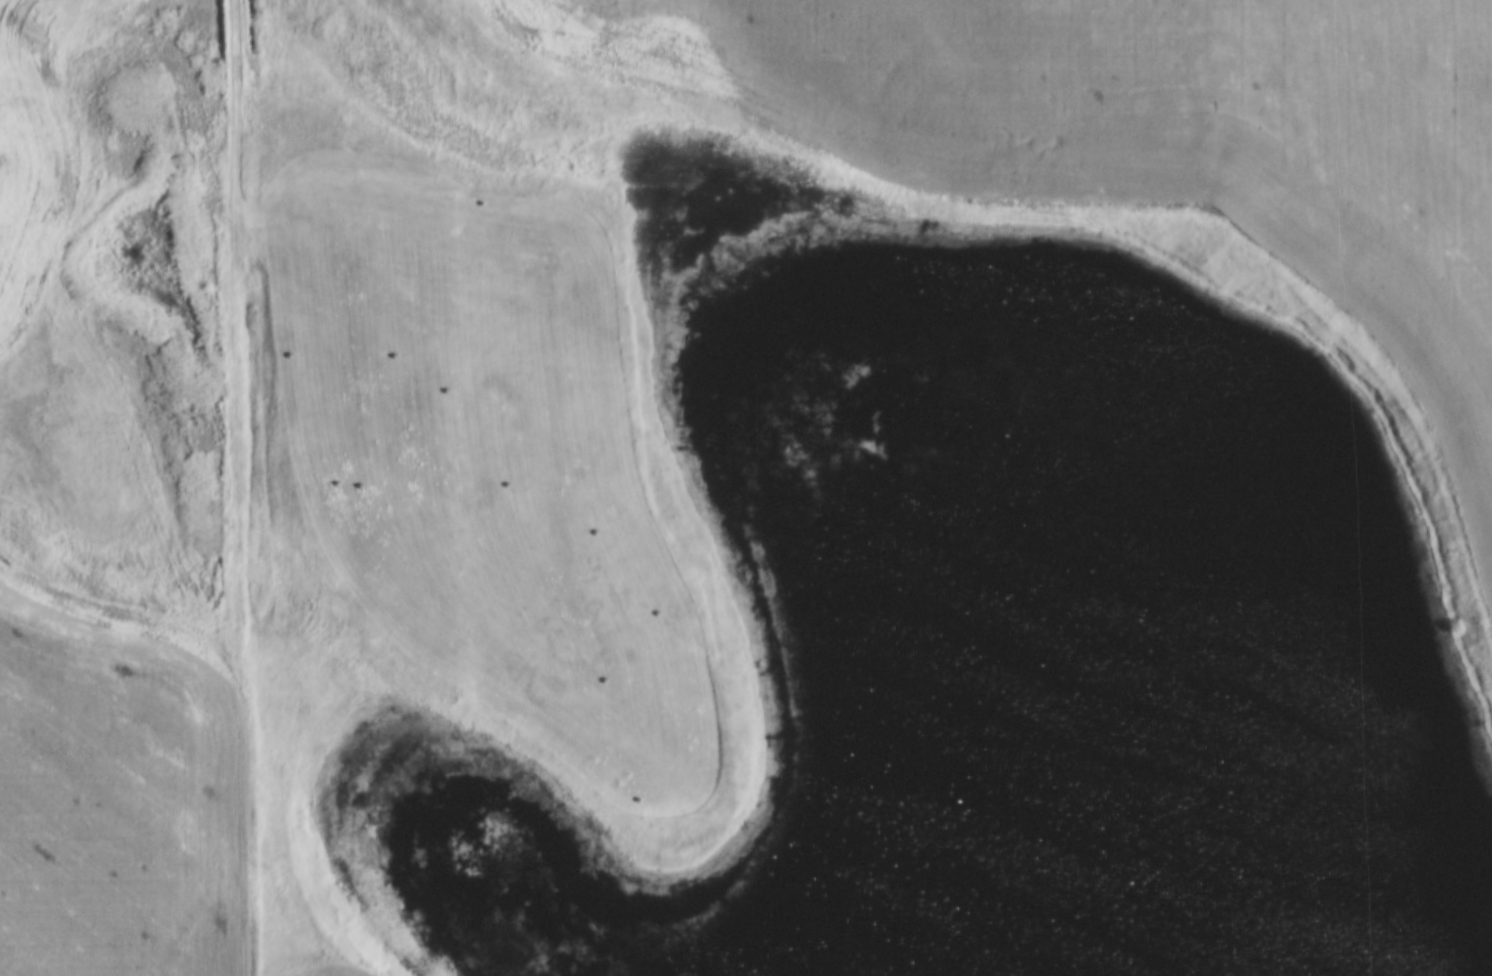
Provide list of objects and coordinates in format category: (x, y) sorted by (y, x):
road: (248, 487)

